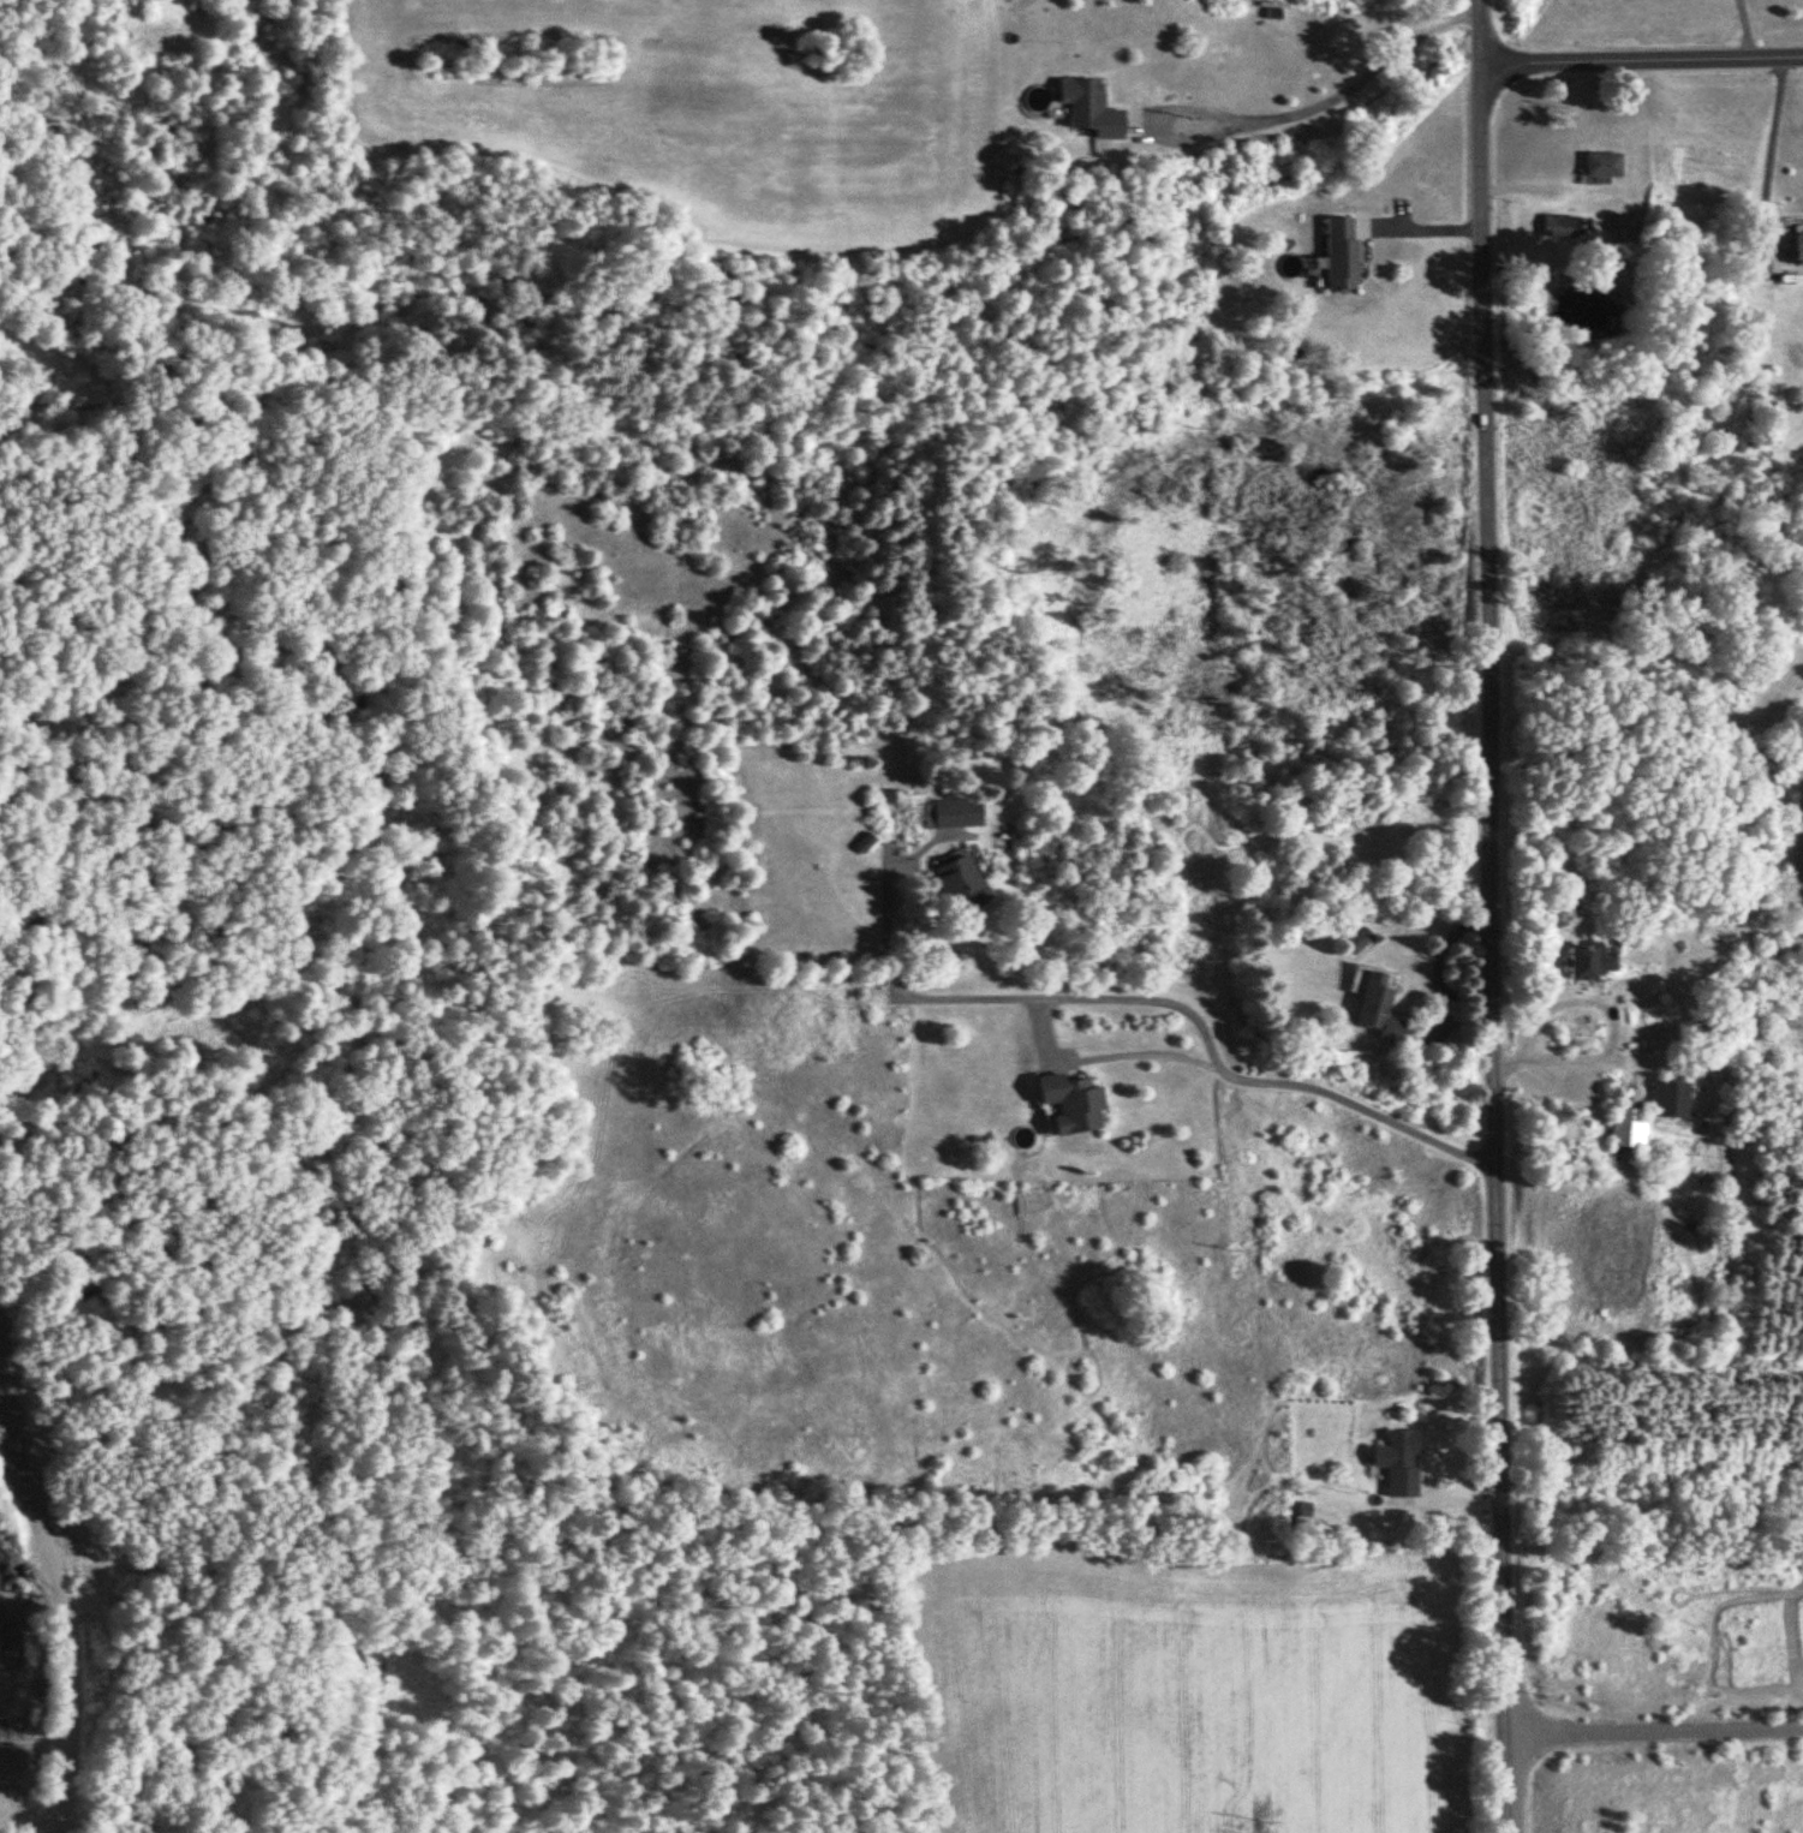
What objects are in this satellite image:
road: (1637, 56)
road: (1345, 89)
building: (1088, 107)
road: (1767, 159)
building: (1600, 163)
building: (1557, 225)
building: (1622, 228)
building: (1798, 246)
building: (1339, 252)
building: (950, 813)
building: (959, 885)
road: (1485, 917)
building: (1357, 941)
building: (1590, 961)
road: (1435, 969)
road: (1153, 998)
road: (1598, 1005)
building: (1378, 1007)
road: (1103, 1056)
building: (1070, 1104)
building: (1626, 1118)
building: (1401, 1464)
road: (1655, 1730)

